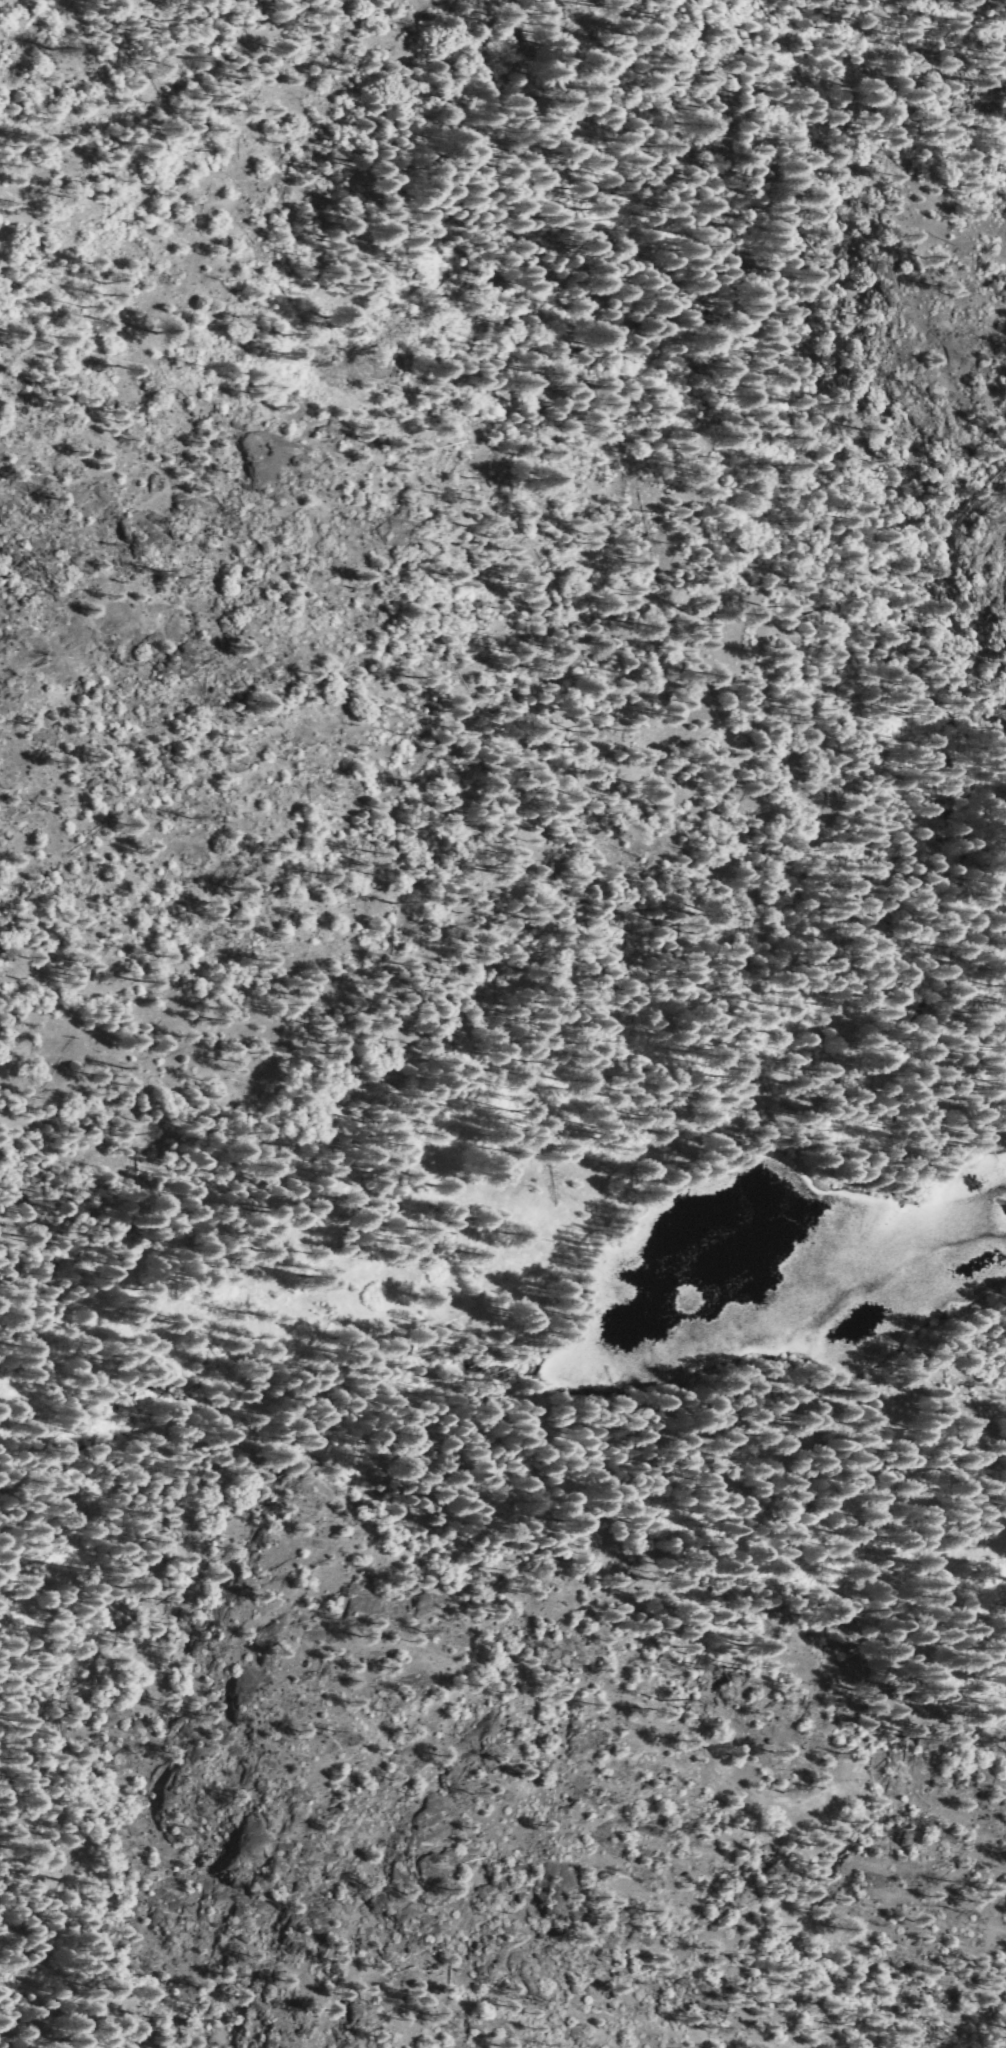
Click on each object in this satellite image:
road: (695, 735)
road: (245, 1401)

